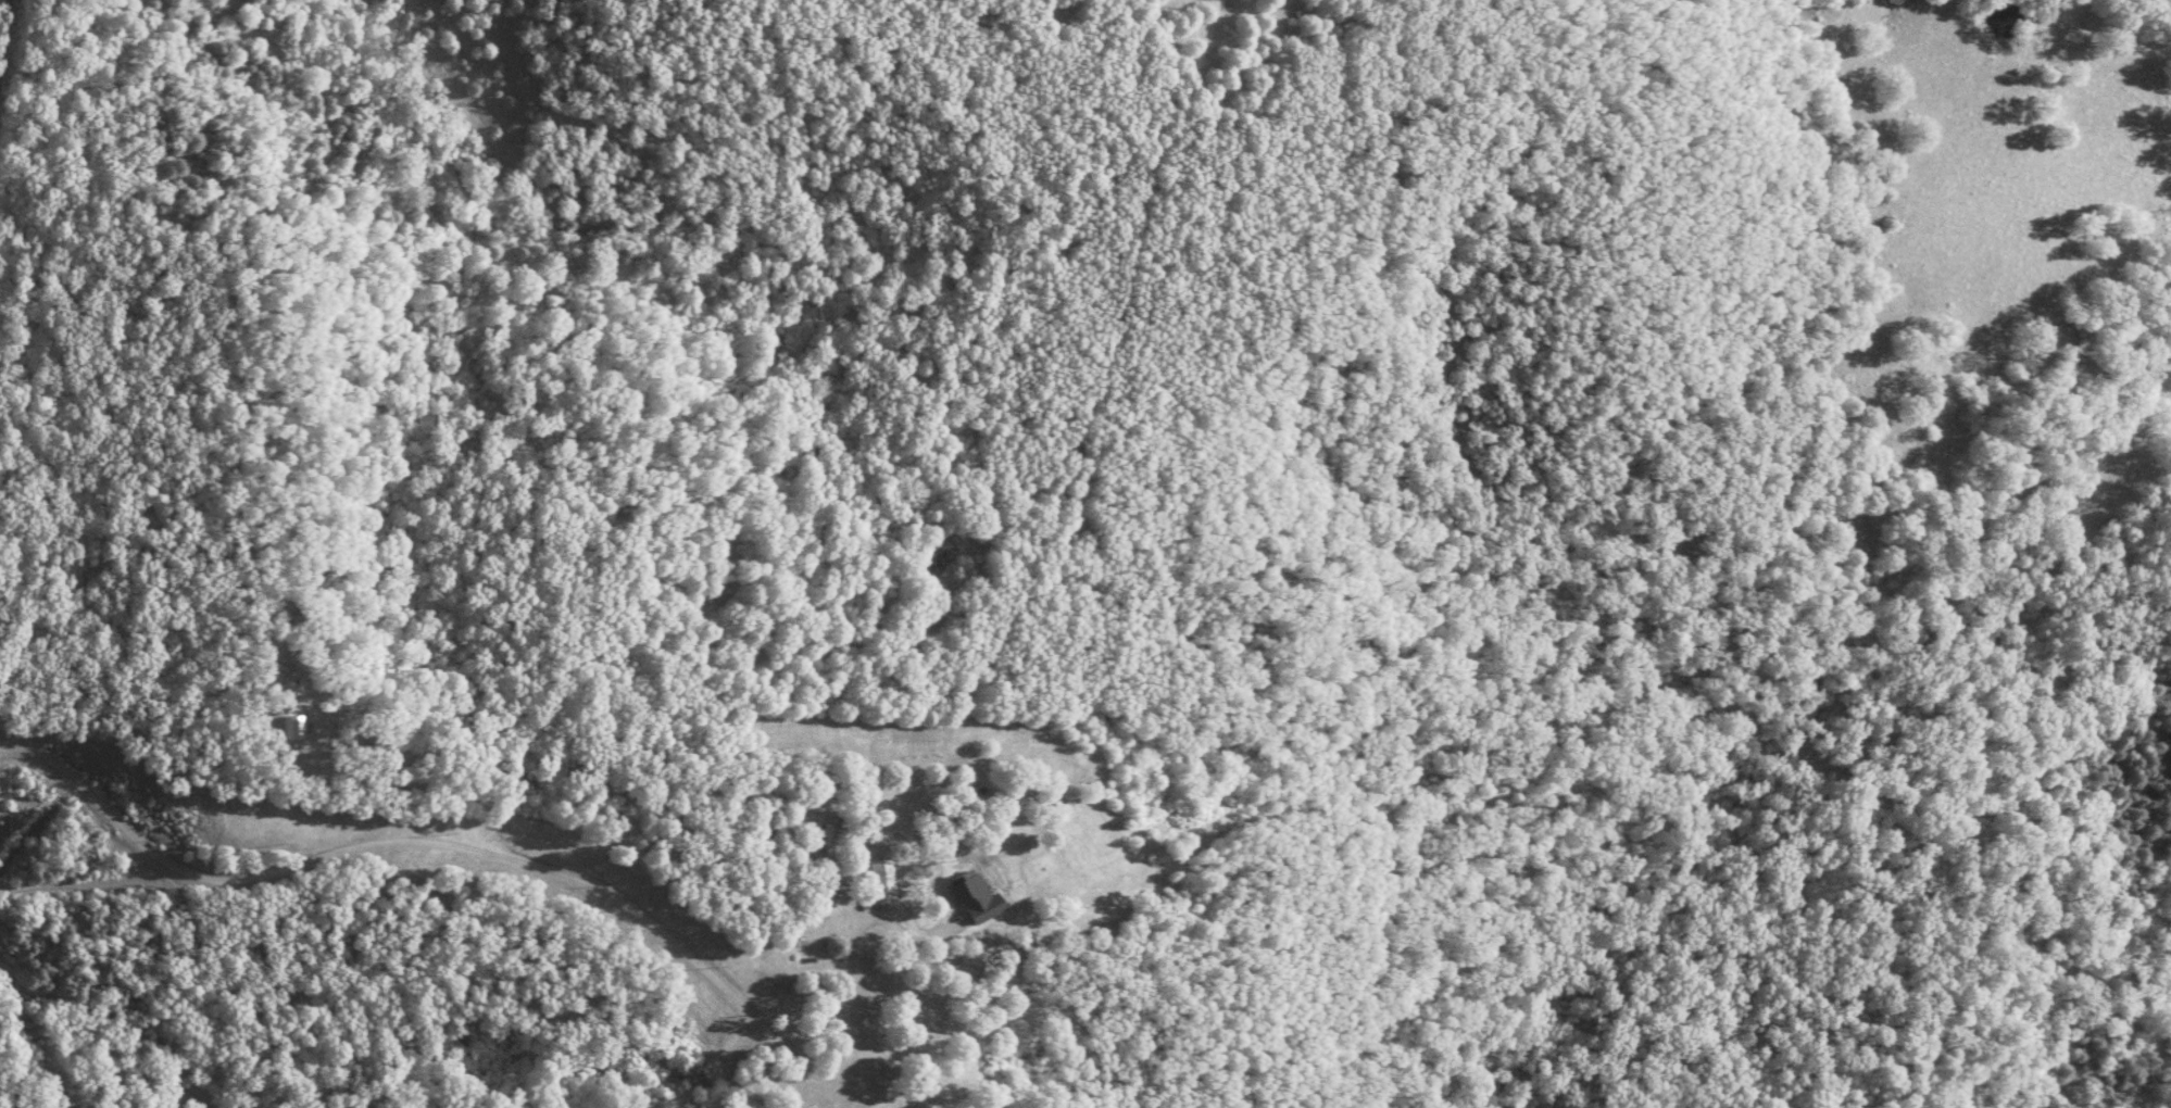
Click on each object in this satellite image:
road: (4, 26)
road: (427, 838)
building: (883, 878)
road: (906, 926)
road: (120, 1021)
road: (804, 1099)

